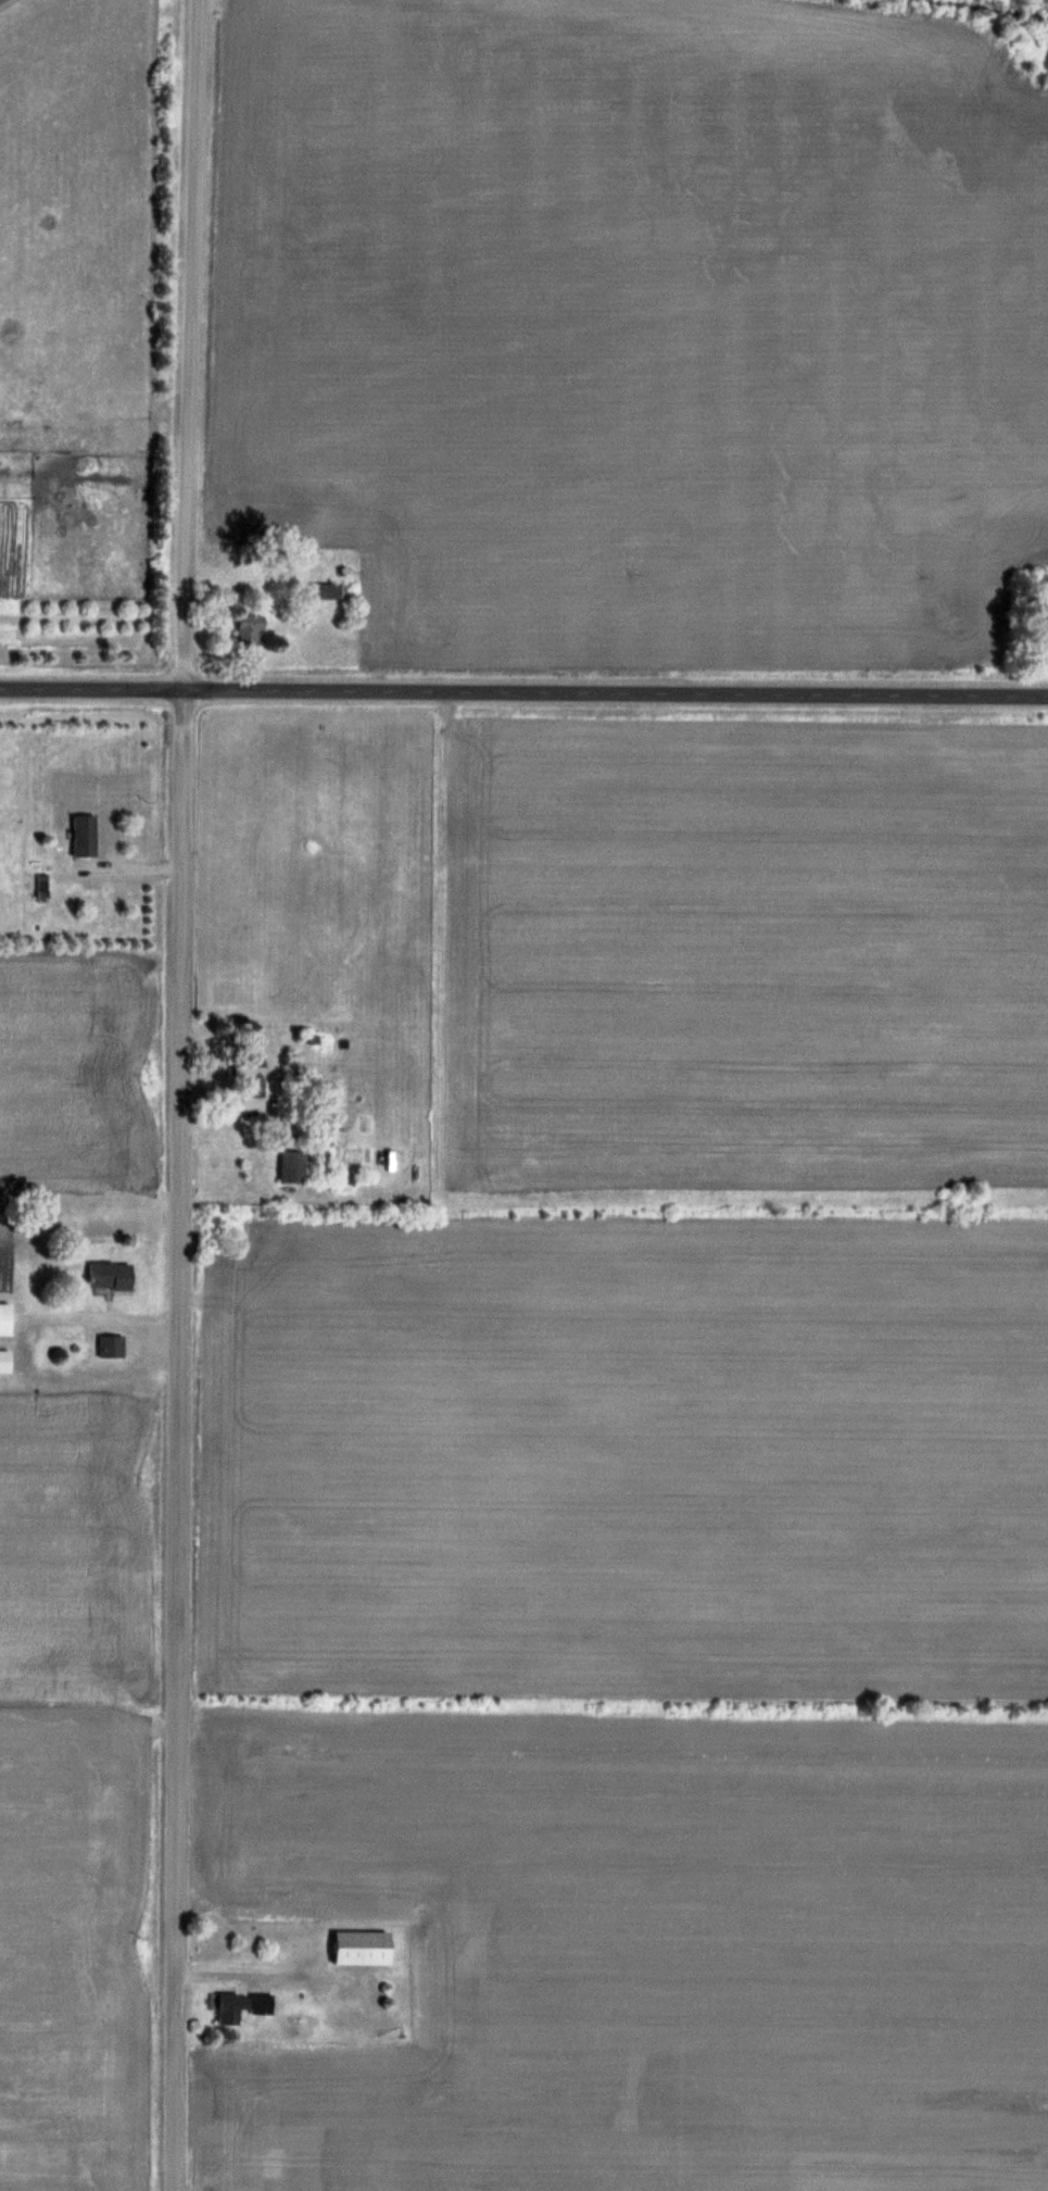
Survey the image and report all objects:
building: (327, 590)
building: (252, 628)
road: (523, 701)
building: (86, 836)
building: (43, 884)
building: (252, 1080)
road: (185, 1094)
building: (294, 1165)
building: (112, 1275)
building: (7, 1318)
building: (113, 1345)
building: (5, 1361)
building: (364, 1946)
building: (242, 2005)

